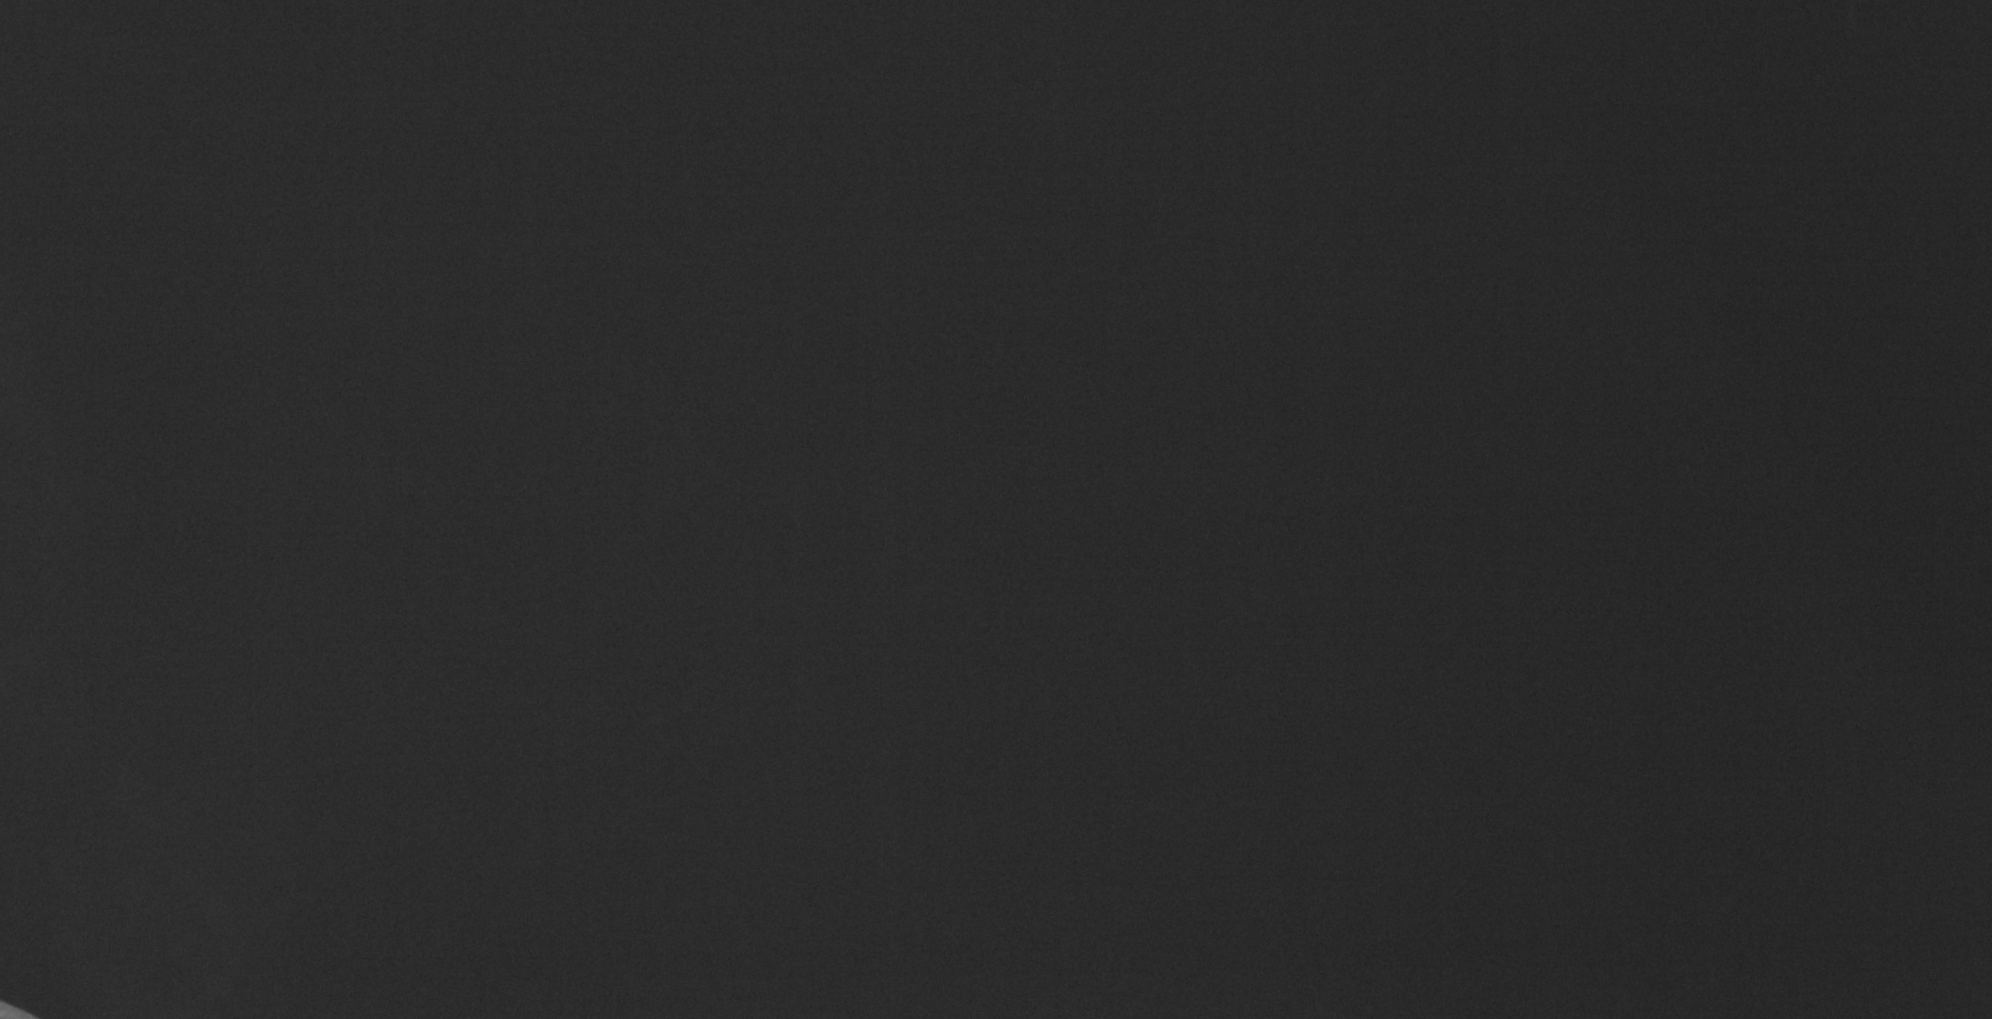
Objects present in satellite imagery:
river: (1598, 544)

